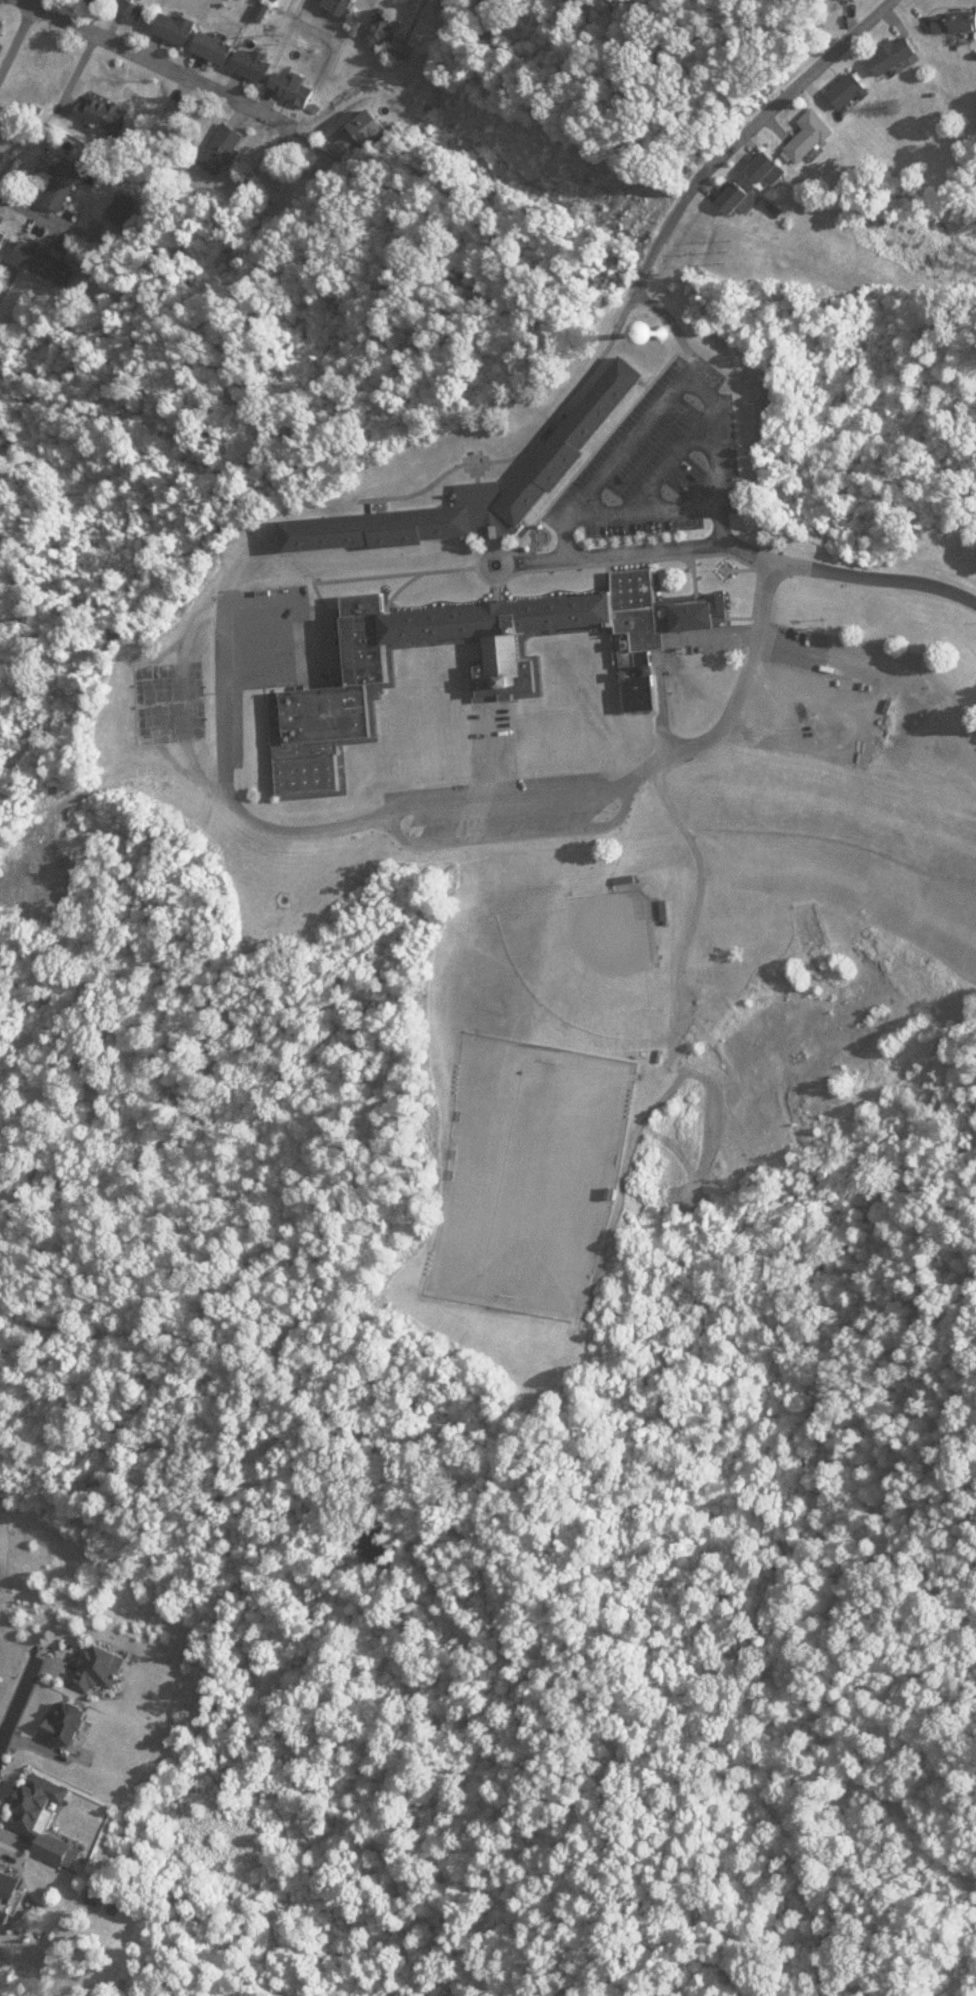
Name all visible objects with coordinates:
building: (99, 2)
building: (136, 10)
building: (951, 10)
building: (379, 18)
road: (11, 27)
building: (179, 27)
building: (397, 37)
road: (832, 37)
building: (887, 43)
building: (217, 47)
road: (158, 54)
building: (257, 66)
building: (843, 79)
building: (295, 88)
building: (111, 118)
building: (800, 123)
road: (735, 131)
building: (363, 135)
building: (226, 149)
building: (756, 157)
building: (66, 187)
building: (728, 187)
building: (126, 209)
road: (61, 219)
road: (653, 235)
building: (4, 241)
building: (48, 263)
water tower: (658, 321)
road: (640, 372)
road: (693, 374)
road: (560, 388)
road: (594, 434)
parking lot: (656, 447)
road: (709, 450)
road: (473, 461)
building: (472, 475)
road: (364, 494)
road: (655, 498)
road: (563, 509)
road: (523, 513)
road: (464, 534)
road: (275, 535)
road: (743, 537)
road: (617, 550)
road: (478, 552)
road: (739, 556)
road: (390, 562)
road: (308, 565)
road: (690, 567)
road: (394, 577)
building: (690, 604)
parking lot: (266, 628)
road: (822, 641)
building: (502, 662)
building: (437, 663)
building: (146, 670)
road: (814, 671)
road: (944, 680)
road: (735, 682)
parking lot: (815, 683)
road: (177, 690)
road: (880, 692)
road: (797, 711)
road: (220, 735)
road: (489, 743)
parking lot: (497, 784)
road: (498, 785)
road: (512, 822)
building: (628, 883)
road: (692, 892)
park: (596, 944)
park: (523, 1165)
building: (101, 1669)
road: (19, 1698)
building: (71, 1723)
building: (40, 1805)
building: (53, 1853)
building: (8, 1890)

